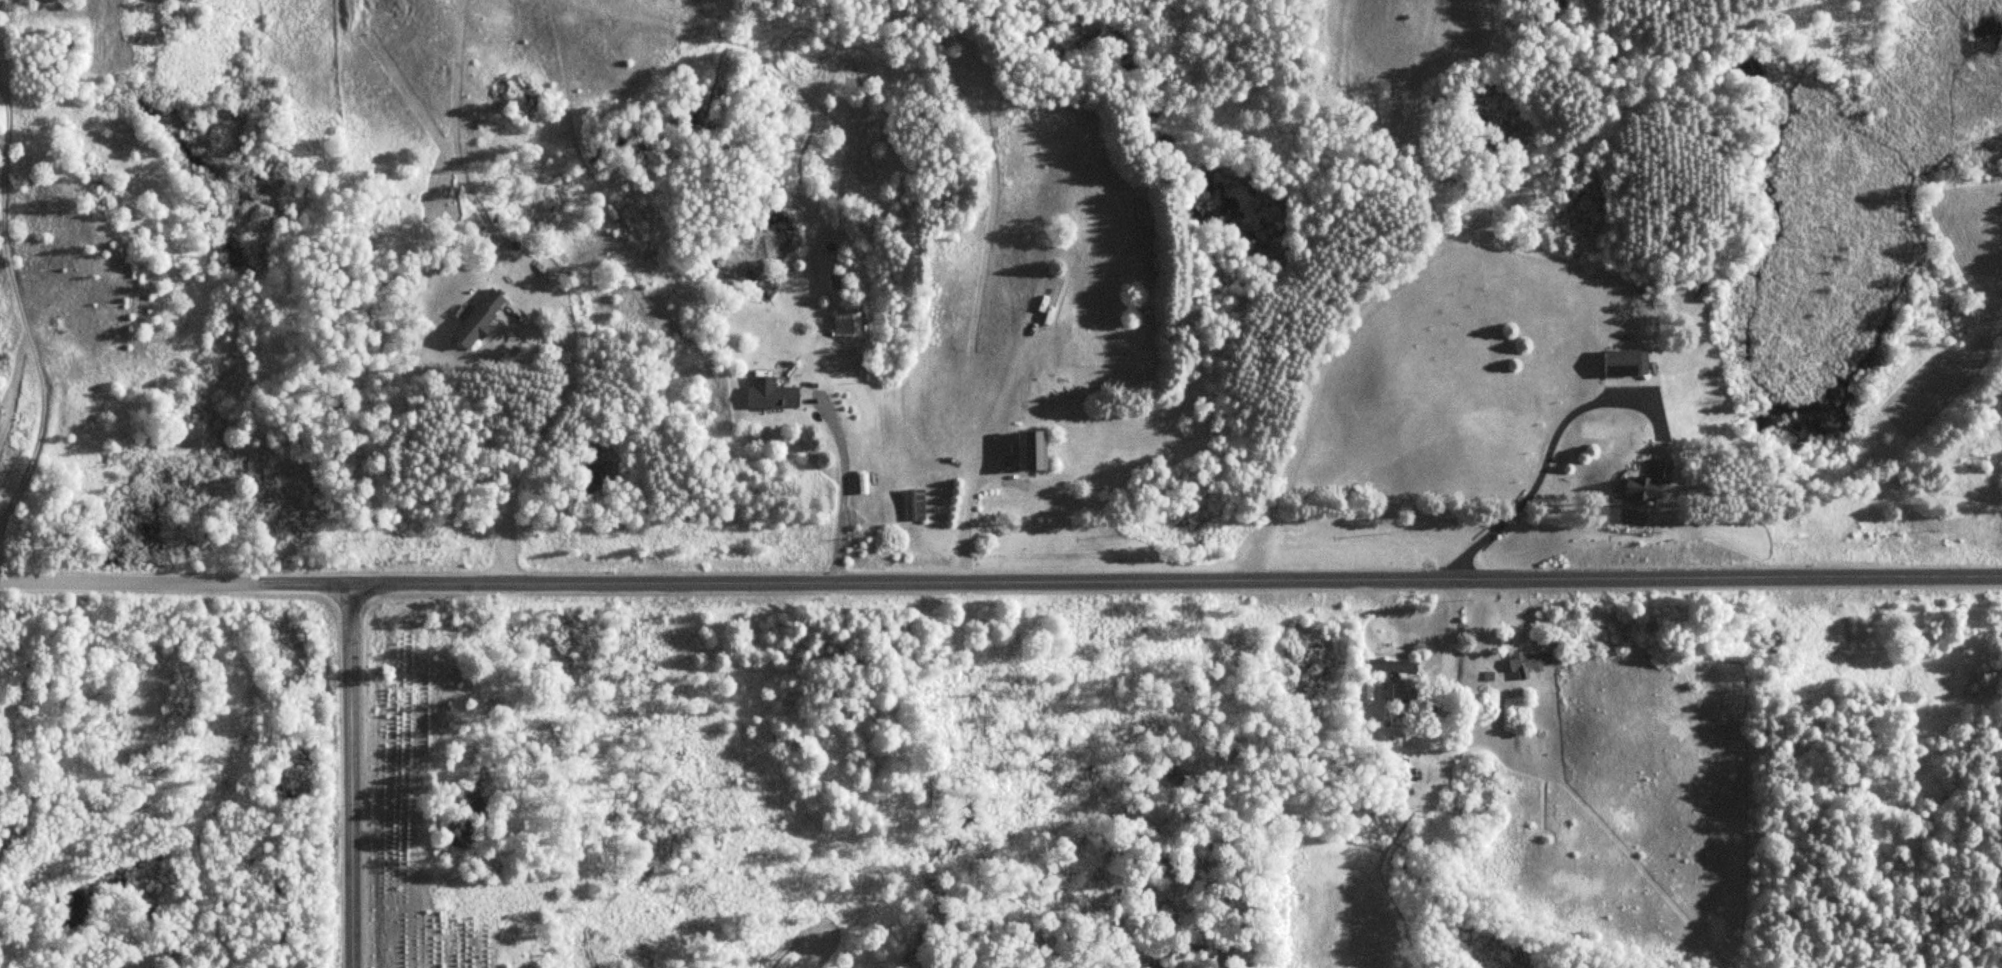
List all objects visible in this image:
building: (483, 318)
building: (853, 324)
building: (1628, 362)
building: (773, 394)
building: (1035, 450)
building: (1651, 479)
building: (914, 504)
road: (174, 580)
road: (1175, 580)
building: (1531, 662)
building: (1394, 664)
road: (351, 776)

